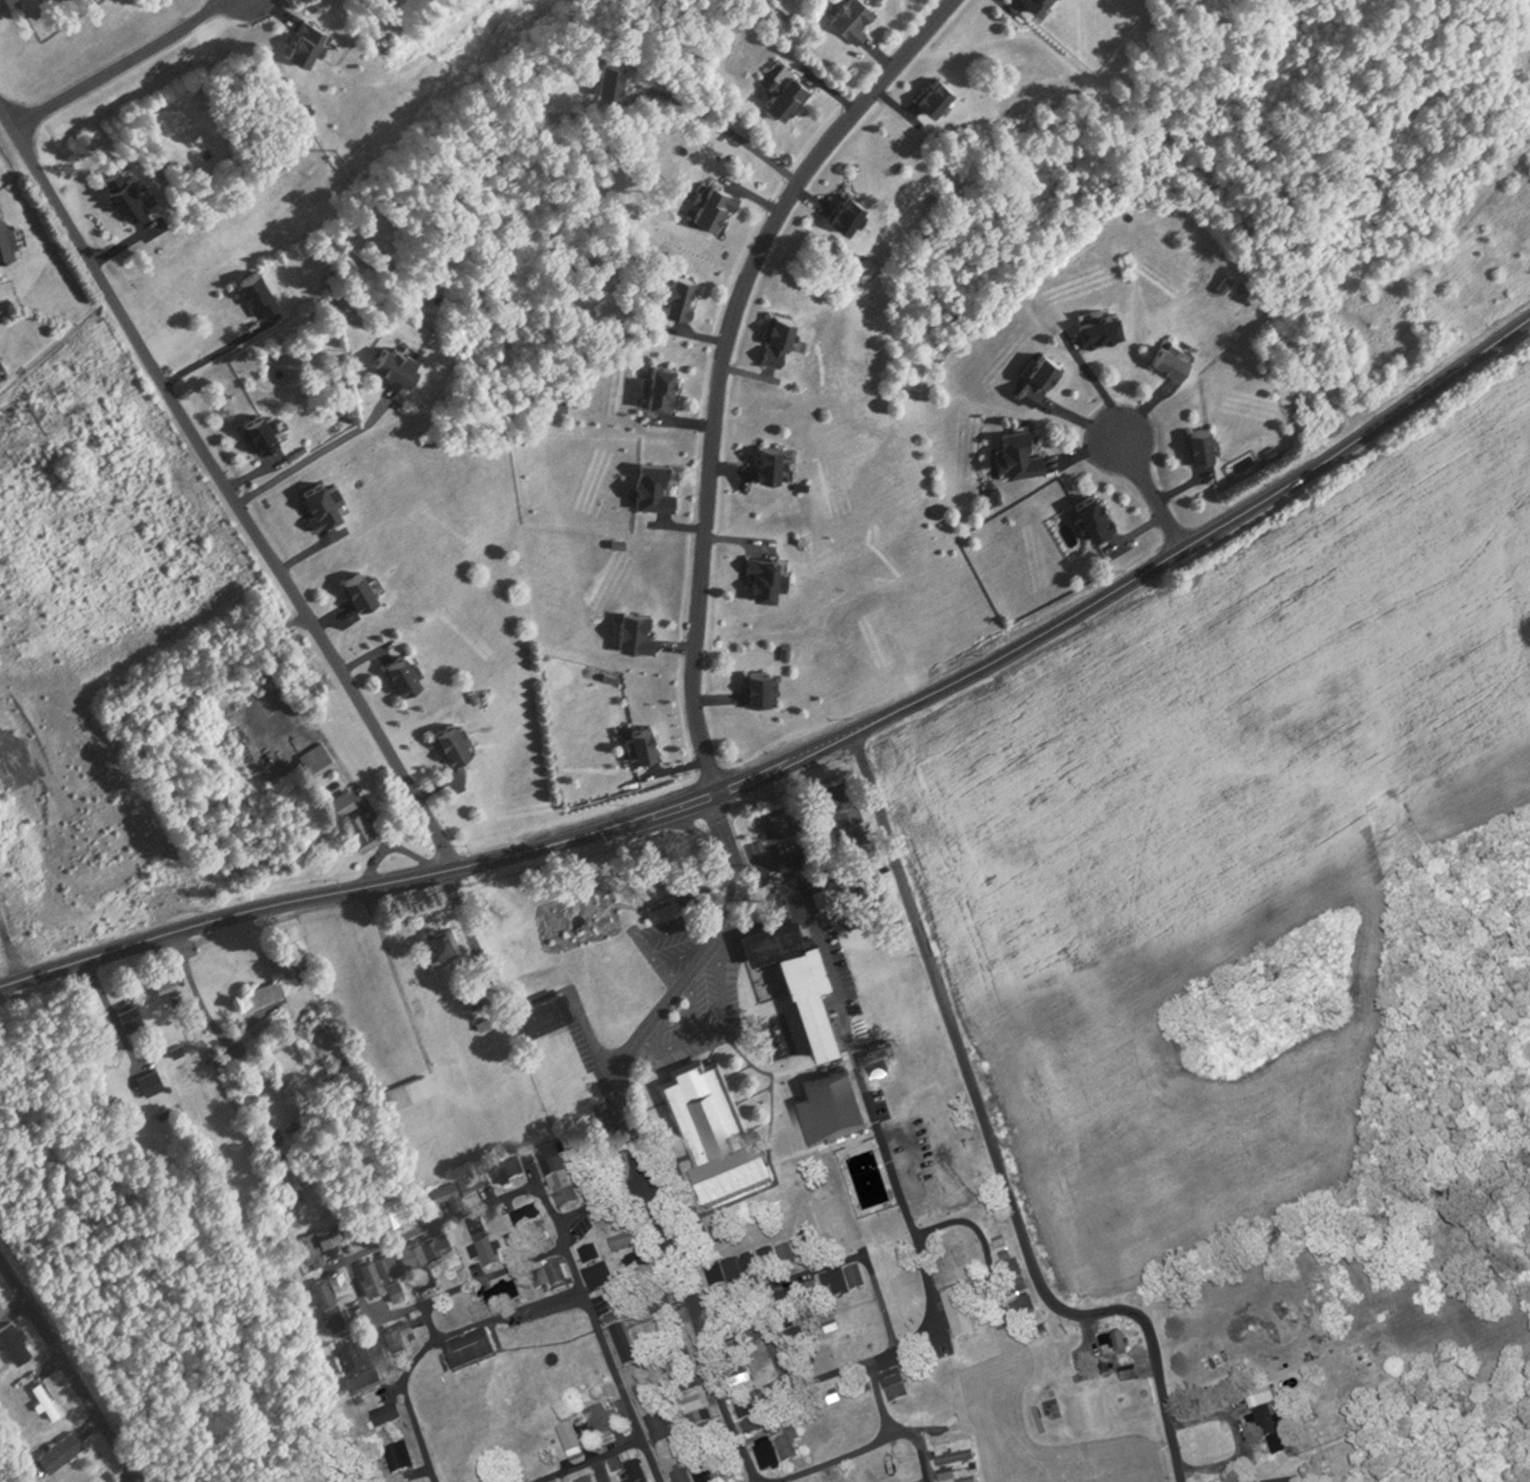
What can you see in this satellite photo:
road: (120, 66)
road: (723, 126)
power tower: (335, 150)
road: (216, 352)
road: (726, 362)
road: (1106, 391)
power tower: (31, 410)
road: (318, 451)
road: (229, 487)
road: (1156, 493)
road: (273, 663)
road: (809, 752)
road: (341, 769)
road: (390, 844)
road: (858, 886)
road: (189, 988)
road: (868, 1084)
road: (607, 1129)
road: (990, 1143)
road: (597, 1204)
road: (971, 1222)
road: (436, 1225)
road: (773, 1283)
road: (457, 1288)
road: (362, 1290)
road: (877, 1290)
road: (514, 1312)
road: (601, 1315)
road: (433, 1320)
road: (816, 1321)
road: (71, 1365)
road: (784, 1396)
road: (415, 1405)
road: (897, 1435)
road: (1243, 1436)
road: (834, 1459)
road: (595, 1462)

